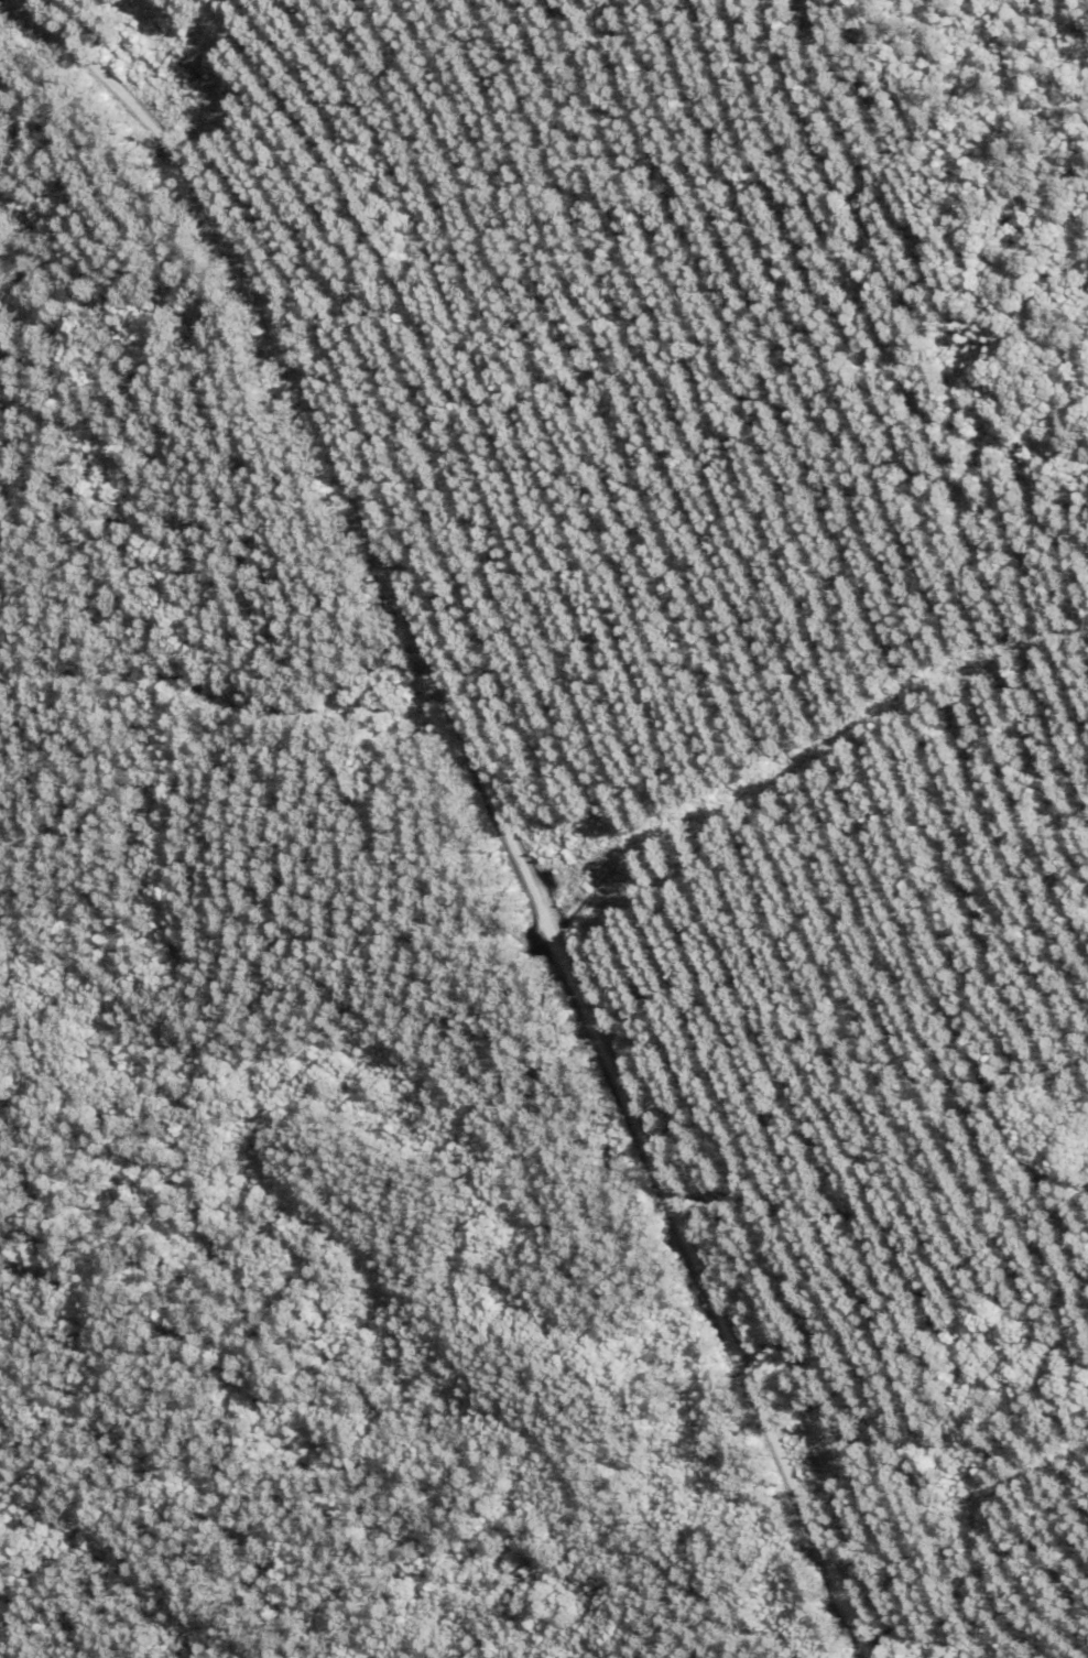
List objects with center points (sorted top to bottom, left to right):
road: (488, 799)

